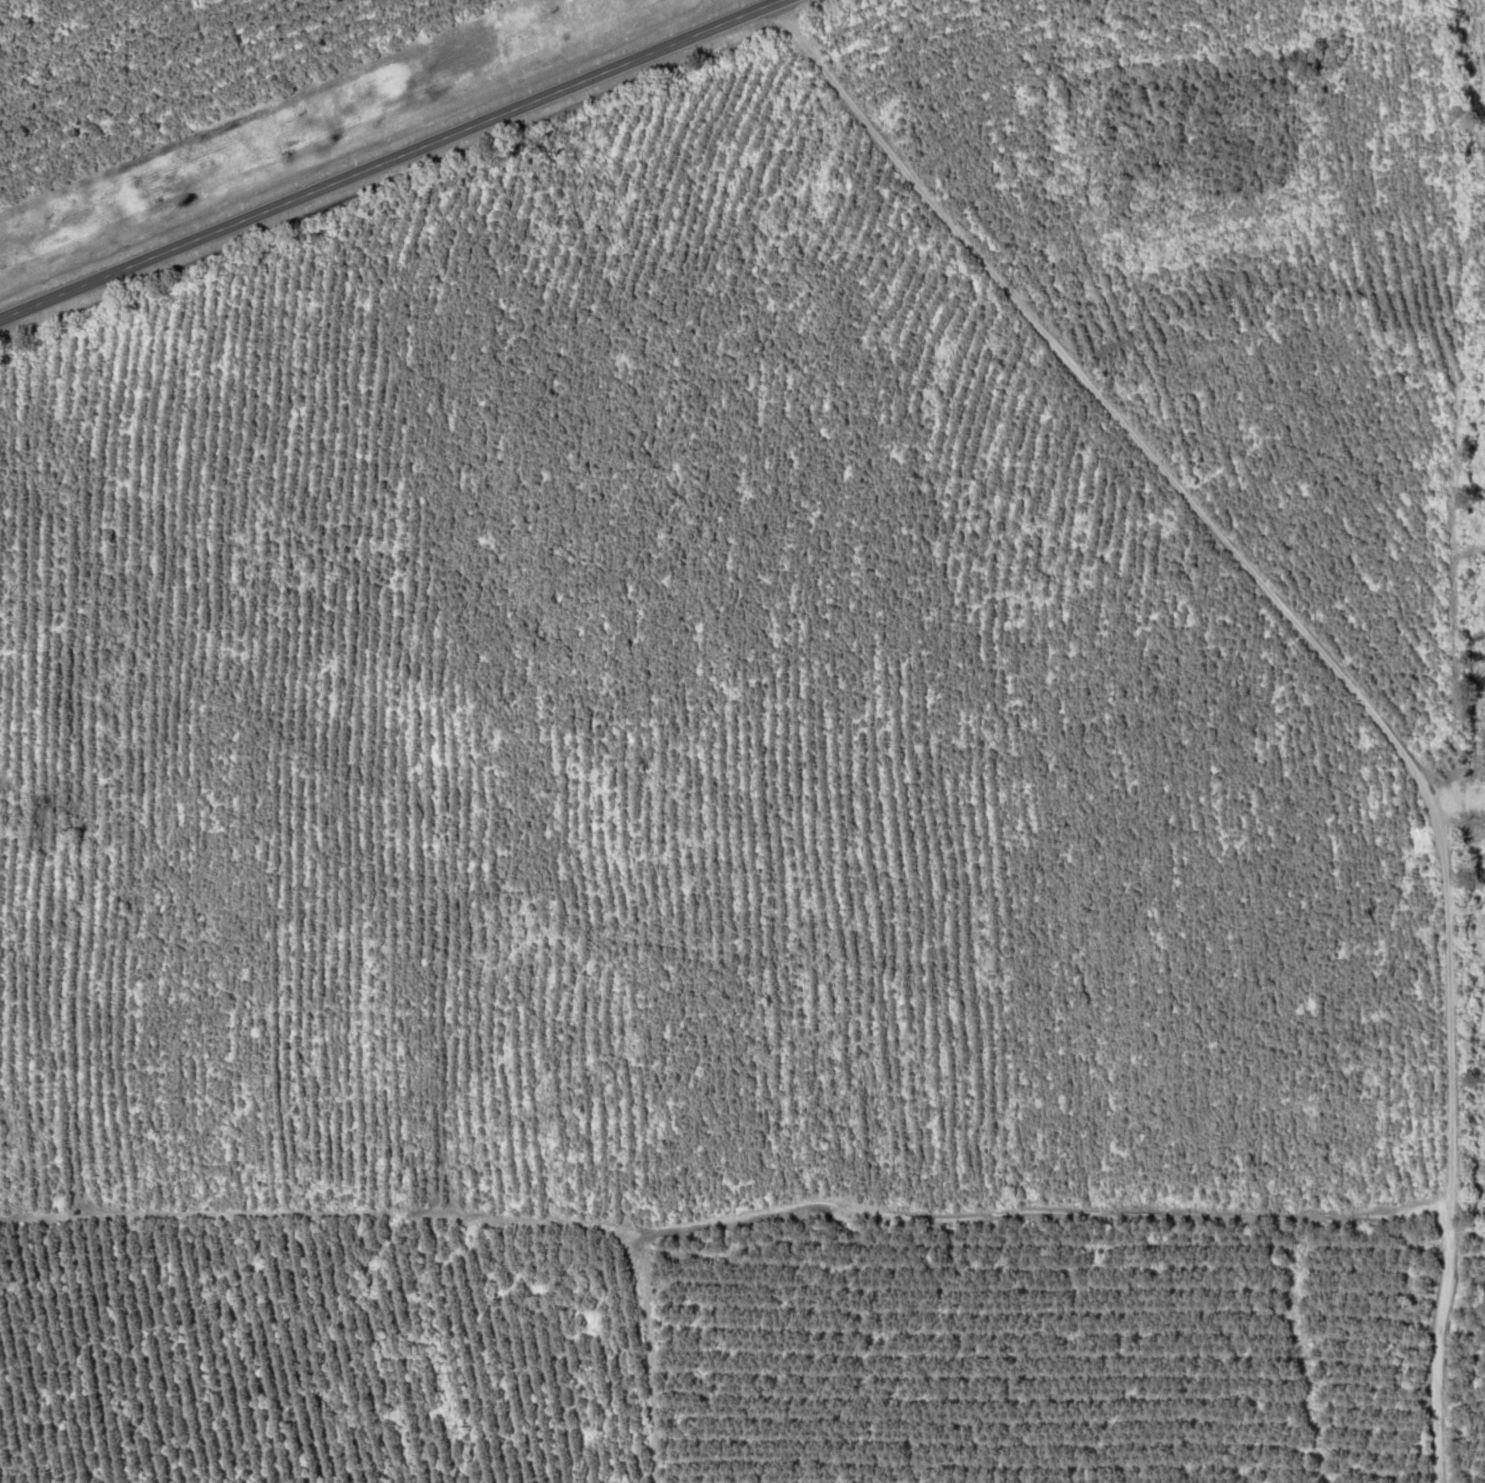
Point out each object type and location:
road: (389, 158)

